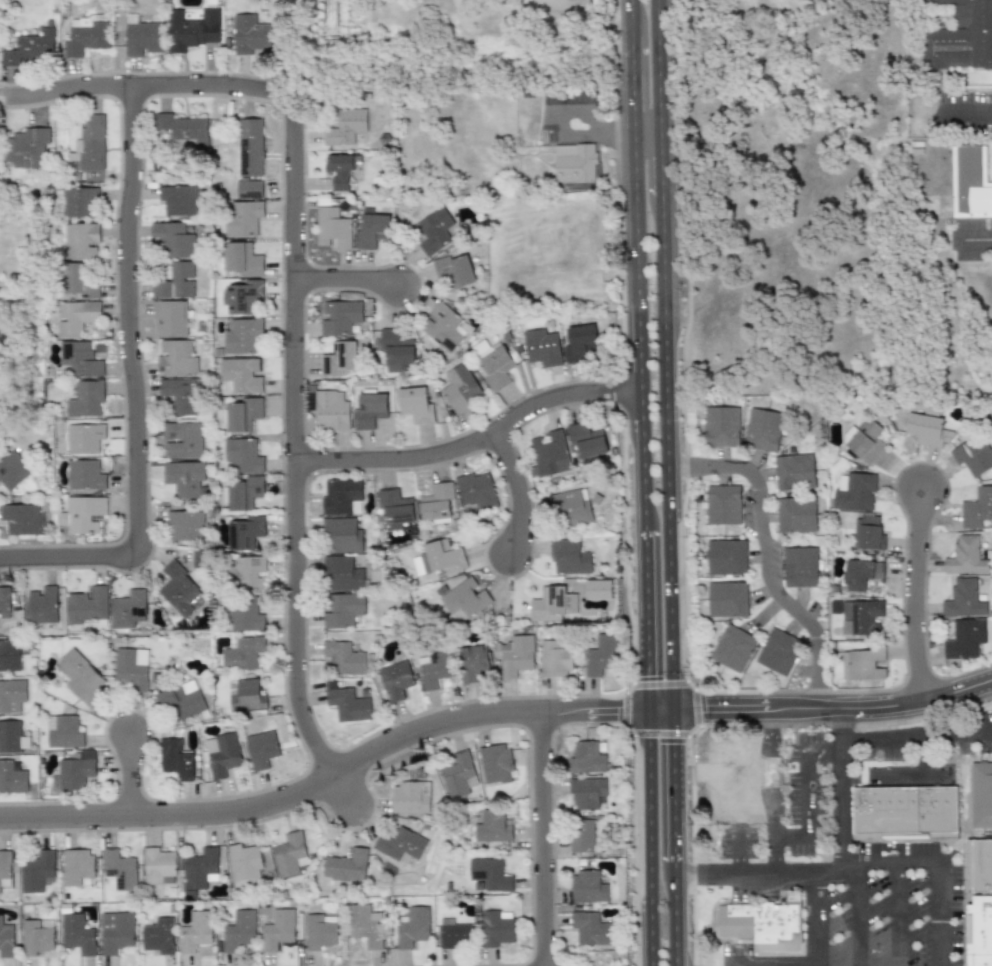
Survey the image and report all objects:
road: (630, 16)
building: (193, 29)
building: (250, 34)
building: (142, 36)
building: (962, 36)
building: (86, 37)
building: (29, 46)
road: (657, 65)
road: (631, 71)
road: (146, 83)
road: (967, 109)
road: (597, 116)
road: (633, 119)
building: (346, 126)
building: (184, 128)
road: (646, 130)
road: (575, 134)
building: (90, 143)
building: (26, 147)
building: (250, 148)
building: (576, 163)
road: (660, 164)
building: (339, 170)
building: (970, 182)
building: (249, 189)
building: (178, 200)
building: (79, 201)
building: (243, 217)
building: (332, 227)
building: (371, 229)
building: (433, 230)
road: (974, 237)
building: (173, 239)
building: (82, 240)
building: (242, 259)
building: (454, 271)
building: (80, 280)
building: (176, 281)
road: (348, 293)
building: (244, 296)
building: (76, 317)
building: (339, 317)
building: (170, 318)
road: (130, 319)
building: (443, 326)
road: (638, 329)
building: (243, 335)
building: (579, 343)
building: (542, 347)
building: (176, 358)
building: (339, 358)
building: (80, 360)
building: (494, 363)
building: (241, 375)
building: (461, 388)
building: (181, 394)
building: (86, 398)
building: (415, 404)
building: (331, 410)
building: (370, 410)
building: (242, 414)
building: (721, 426)
building: (763, 429)
building: (928, 429)
building: (84, 437)
road: (472, 439)
building: (182, 440)
building: (587, 440)
road: (296, 443)
building: (550, 453)
road: (666, 453)
building: (973, 455)
building: (242, 456)
building: (12, 470)
building: (795, 471)
building: (85, 475)
building: (184, 478)
building: (477, 490)
building: (854, 491)
building: (244, 492)
road: (513, 493)
building: (340, 495)
building: (437, 502)
building: (723, 504)
building: (571, 507)
building: (395, 508)
building: (977, 508)
building: (82, 514)
building: (797, 515)
building: (23, 519)
building: (186, 525)
building: (246, 532)
building: (866, 532)
building: (341, 535)
road: (68, 556)
road: (764, 556)
building: (965, 556)
building: (570, 557)
building: (726, 557)
building: (437, 558)
building: (200, 559)
building: (800, 566)
building: (249, 572)
building: (342, 573)
building: (860, 573)
building: (598, 589)
building: (180, 590)
road: (916, 595)
building: (727, 599)
building: (963, 599)
building: (465, 600)
building: (4, 602)
building: (42, 604)
building: (88, 604)
building: (553, 604)
building: (128, 609)
building: (343, 610)
building: (244, 614)
road: (645, 617)
building: (860, 617)
building: (965, 638)
building: (733, 648)
building: (778, 651)
building: (243, 653)
building: (9, 655)
building: (516, 655)
building: (603, 655)
building: (344, 658)
building: (475, 658)
building: (555, 660)
building: (862, 664)
building: (131, 667)
building: (434, 668)
building: (82, 678)
building: (396, 679)
building: (12, 695)
building: (245, 695)
building: (181, 700)
building: (348, 704)
road: (660, 707)
road: (834, 708)
building: (64, 731)
road: (916, 733)
building: (12, 737)
building: (261, 749)
building: (222, 754)
building: (588, 758)
building: (176, 759)
building: (495, 763)
building: (76, 770)
building: (740, 772)
building: (458, 775)
road: (327, 777)
building: (12, 778)
road: (130, 778)
road: (674, 785)
road: (842, 785)
road: (770, 789)
road: (803, 789)
building: (588, 792)
building: (981, 794)
road: (345, 796)
building: (410, 796)
building: (905, 813)
building: (494, 826)
building: (583, 836)
road: (649, 836)
road: (544, 839)
building: (401, 844)
building: (289, 855)
road: (855, 860)
building: (244, 862)
building: (346, 865)
building: (979, 865)
building: (76, 866)
building: (158, 866)
building: (5, 868)
building: (201, 868)
building: (120, 869)
building: (36, 870)
building: (492, 874)
building: (589, 886)
road: (856, 913)
road: (895, 913)
road: (675, 914)
road: (815, 916)
building: (761, 921)
building: (366, 925)
building: (414, 927)
building: (278, 929)
building: (594, 929)
building: (239, 930)
building: (195, 931)
building: (321, 931)
building: (978, 931)
building: (117, 932)
building: (77, 933)
building: (499, 933)
building: (456, 934)
building: (37, 936)
building: (159, 936)
building: (6, 939)
road: (770, 963)
road: (726, 965)

